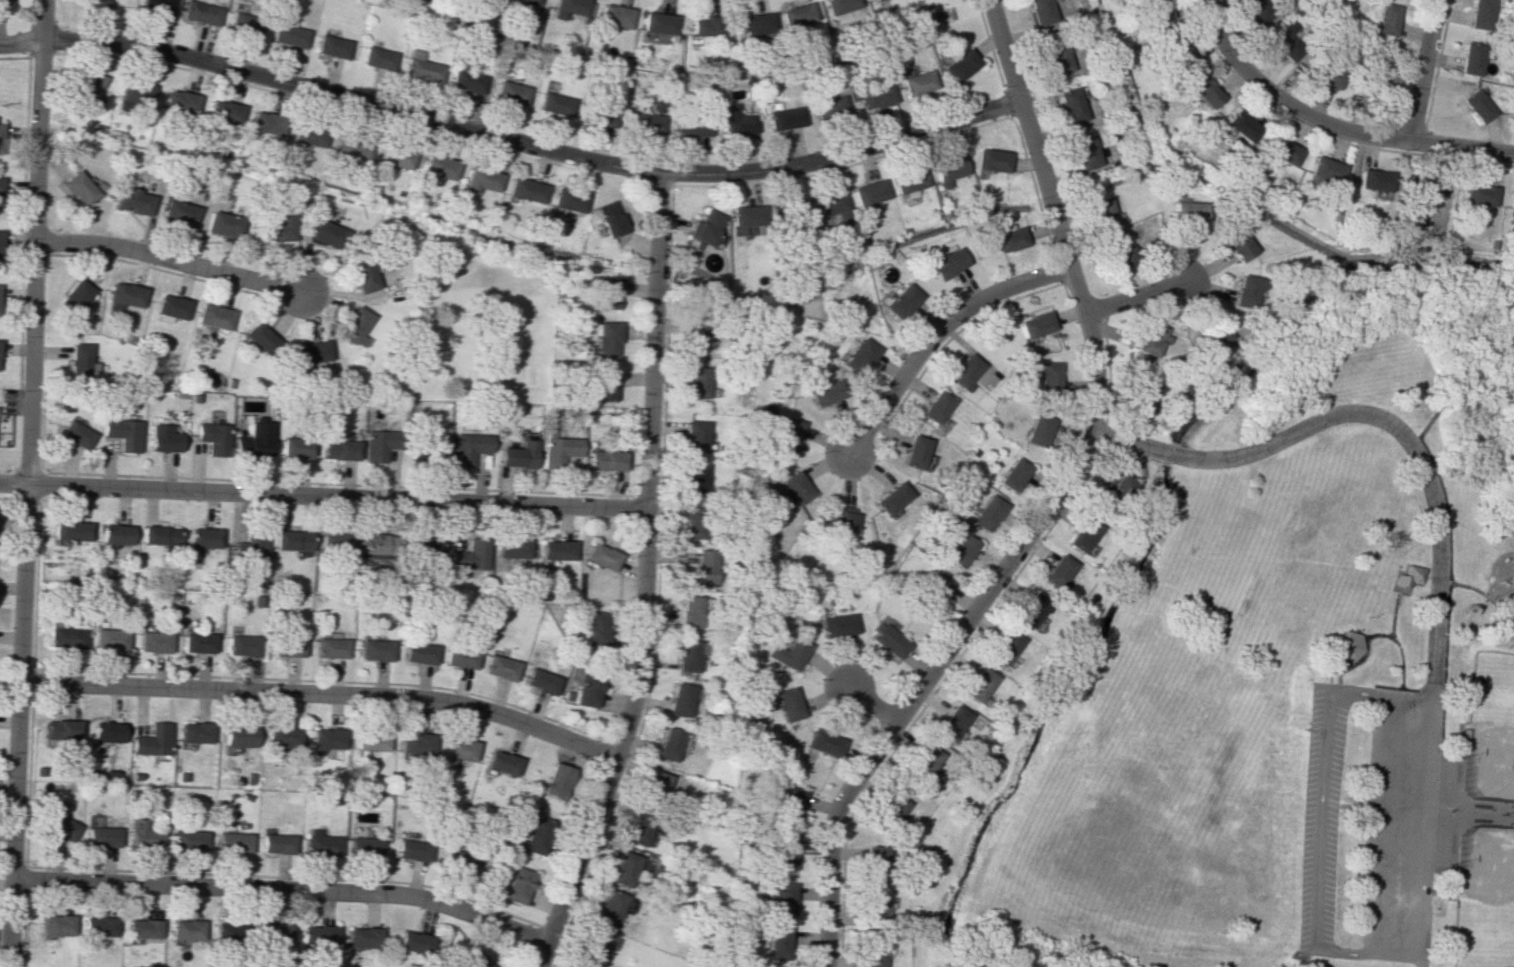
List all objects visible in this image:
building: (874, 0)
building: (528, 1)
building: (2, 3)
building: (93, 4)
building: (838, 5)
building: (155, 6)
building: (570, 7)
building: (1155, 10)
building: (1257, 10)
building: (198, 12)
building: (1038, 12)
building: (1479, 13)
building: (613, 15)
building: (796, 15)
building: (1387, 19)
building: (657, 22)
building: (243, 24)
building: (705, 25)
building: (754, 25)
building: (286, 32)
building: (1287, 40)
road: (20, 42)
building: (330, 46)
building: (1176, 52)
building: (1054, 57)
road: (1231, 57)
building: (376, 58)
building: (1469, 58)
building: (960, 65)
building: (419, 66)
road: (1421, 70)
building: (1325, 75)
building: (1377, 78)
building: (467, 81)
building: (918, 82)
building: (86, 87)
building: (510, 92)
building: (1204, 92)
building: (132, 93)
building: (875, 97)
building: (178, 102)
building: (554, 104)
building: (1068, 105)
building: (1475, 105)
building: (830, 107)
building: (222, 112)
building: (603, 116)
building: (785, 118)
building: (737, 120)
building: (264, 122)
building: (644, 123)
building: (691, 125)
building: (1239, 125)
road: (1027, 133)
building: (0, 134)
building: (307, 134)
road: (1393, 139)
road: (528, 144)
building: (351, 147)
building: (1279, 151)
building: (1082, 152)
building: (394, 156)
building: (989, 160)
building: (438, 167)
building: (945, 171)
building: (1322, 171)
building: (479, 180)
building: (906, 181)
building: (1372, 181)
building: (1424, 187)
building: (77, 188)
building: (524, 190)
building: (865, 194)
building: (1476, 194)
building: (131, 200)
building: (566, 200)
building: (1510, 204)
building: (828, 206)
building: (792, 210)
building: (177, 212)
building: (1103, 214)
building: (1183, 214)
building: (609, 218)
building: (744, 220)
building: (221, 224)
building: (278, 226)
building: (704, 226)
building: (326, 234)
building: (1006, 239)
building: (1233, 244)
building: (1117, 251)
road: (169, 259)
building: (944, 263)
building: (362, 274)
building: (1243, 291)
building: (606, 293)
building: (75, 296)
building: (124, 296)
road: (1134, 299)
building: (899, 301)
building: (171, 308)
building: (213, 316)
building: (354, 324)
building: (1034, 324)
building: (698, 334)
road: (935, 335)
building: (1210, 337)
building: (260, 338)
building: (606, 338)
building: (1147, 338)
building: (311, 352)
building: (857, 357)
building: (78, 359)
building: (962, 370)
building: (1047, 377)
building: (699, 383)
building: (604, 384)
road: (1458, 389)
building: (825, 392)
building: (1139, 398)
building: (934, 407)
road: (1377, 421)
building: (1036, 430)
building: (122, 433)
building: (75, 434)
building: (786, 434)
building: (696, 436)
building: (212, 437)
building: (162, 438)
building: (253, 440)
building: (379, 444)
building: (295, 446)
building: (469, 447)
building: (339, 449)
building: (559, 450)
building: (913, 451)
building: (437, 454)
building: (518, 455)
building: (603, 460)
building: (1012, 474)
building: (695, 478)
road: (29, 483)
building: (1117, 483)
building: (795, 487)
road: (323, 496)
building: (889, 498)
building: (985, 513)
building: (837, 519)
building: (691, 522)
building: (71, 530)
building: (115, 534)
building: (159, 535)
building: (1080, 536)
building: (203, 538)
building: (293, 540)
building: (336, 542)
building: (380, 543)
building: (249, 546)
building: (426, 547)
building: (514, 548)
building: (557, 549)
building: (959, 550)
building: (472, 555)
building: (602, 556)
building: (699, 570)
building: (1055, 571)
building: (1406, 576)
road: (643, 578)
road: (1439, 580)
road: (1469, 587)
building: (933, 588)
building: (1505, 601)
building: (688, 611)
road: (968, 613)
building: (1029, 613)
building: (836, 625)
building: (595, 628)
road: (1391, 633)
building: (67, 637)
building: (111, 639)
building: (155, 641)
building: (887, 641)
building: (199, 642)
building: (244, 645)
building: (1346, 646)
building: (289, 647)
building: (332, 647)
building: (1001, 647)
building: (376, 650)
building: (420, 653)
building: (788, 653)
building: (686, 655)
building: (461, 657)
road: (1399, 661)
building: (500, 667)
park: (1277, 673)
building: (540, 677)
building: (975, 684)
building: (587, 686)
road: (1397, 689)
road: (322, 692)
building: (679, 699)
building: (788, 703)
road: (869, 705)
building: (948, 722)
building: (62, 729)
park: (1488, 729)
building: (107, 731)
building: (196, 732)
building: (240, 735)
building: (284, 737)
building: (328, 738)
building: (154, 740)
building: (372, 740)
building: (822, 742)
building: (417, 743)
building: (668, 744)
building: (459, 750)
building: (503, 762)
building: (921, 765)
building: (556, 781)
building: (654, 787)
building: (790, 803)
road: (1353, 806)
road: (1405, 806)
road: (1445, 807)
building: (888, 809)
road: (1479, 814)
parking lot: (1321, 818)
building: (61, 826)
parking lot: (1399, 826)
building: (639, 827)
road: (1387, 831)
building: (536, 833)
building: (146, 834)
building: (102, 837)
building: (191, 839)
building: (236, 841)
building: (280, 843)
building: (324, 844)
building: (367, 846)
building: (415, 849)
building: (783, 853)
building: (871, 857)
building: (460, 858)
building: (623, 869)
building: (518, 885)
road: (283, 888)
building: (779, 897)
park: (1482, 898)
building: (874, 906)
building: (609, 909)
building: (57, 924)
building: (100, 926)
building: (144, 928)
building: (188, 929)
building: (228, 931)
building: (276, 934)
building: (321, 935)
building: (366, 937)
building: (417, 940)
building: (776, 943)
building: (593, 947)
building: (869, 954)
building: (477, 960)
road: (823, 962)
road: (1419, 962)
road: (1421, 965)

